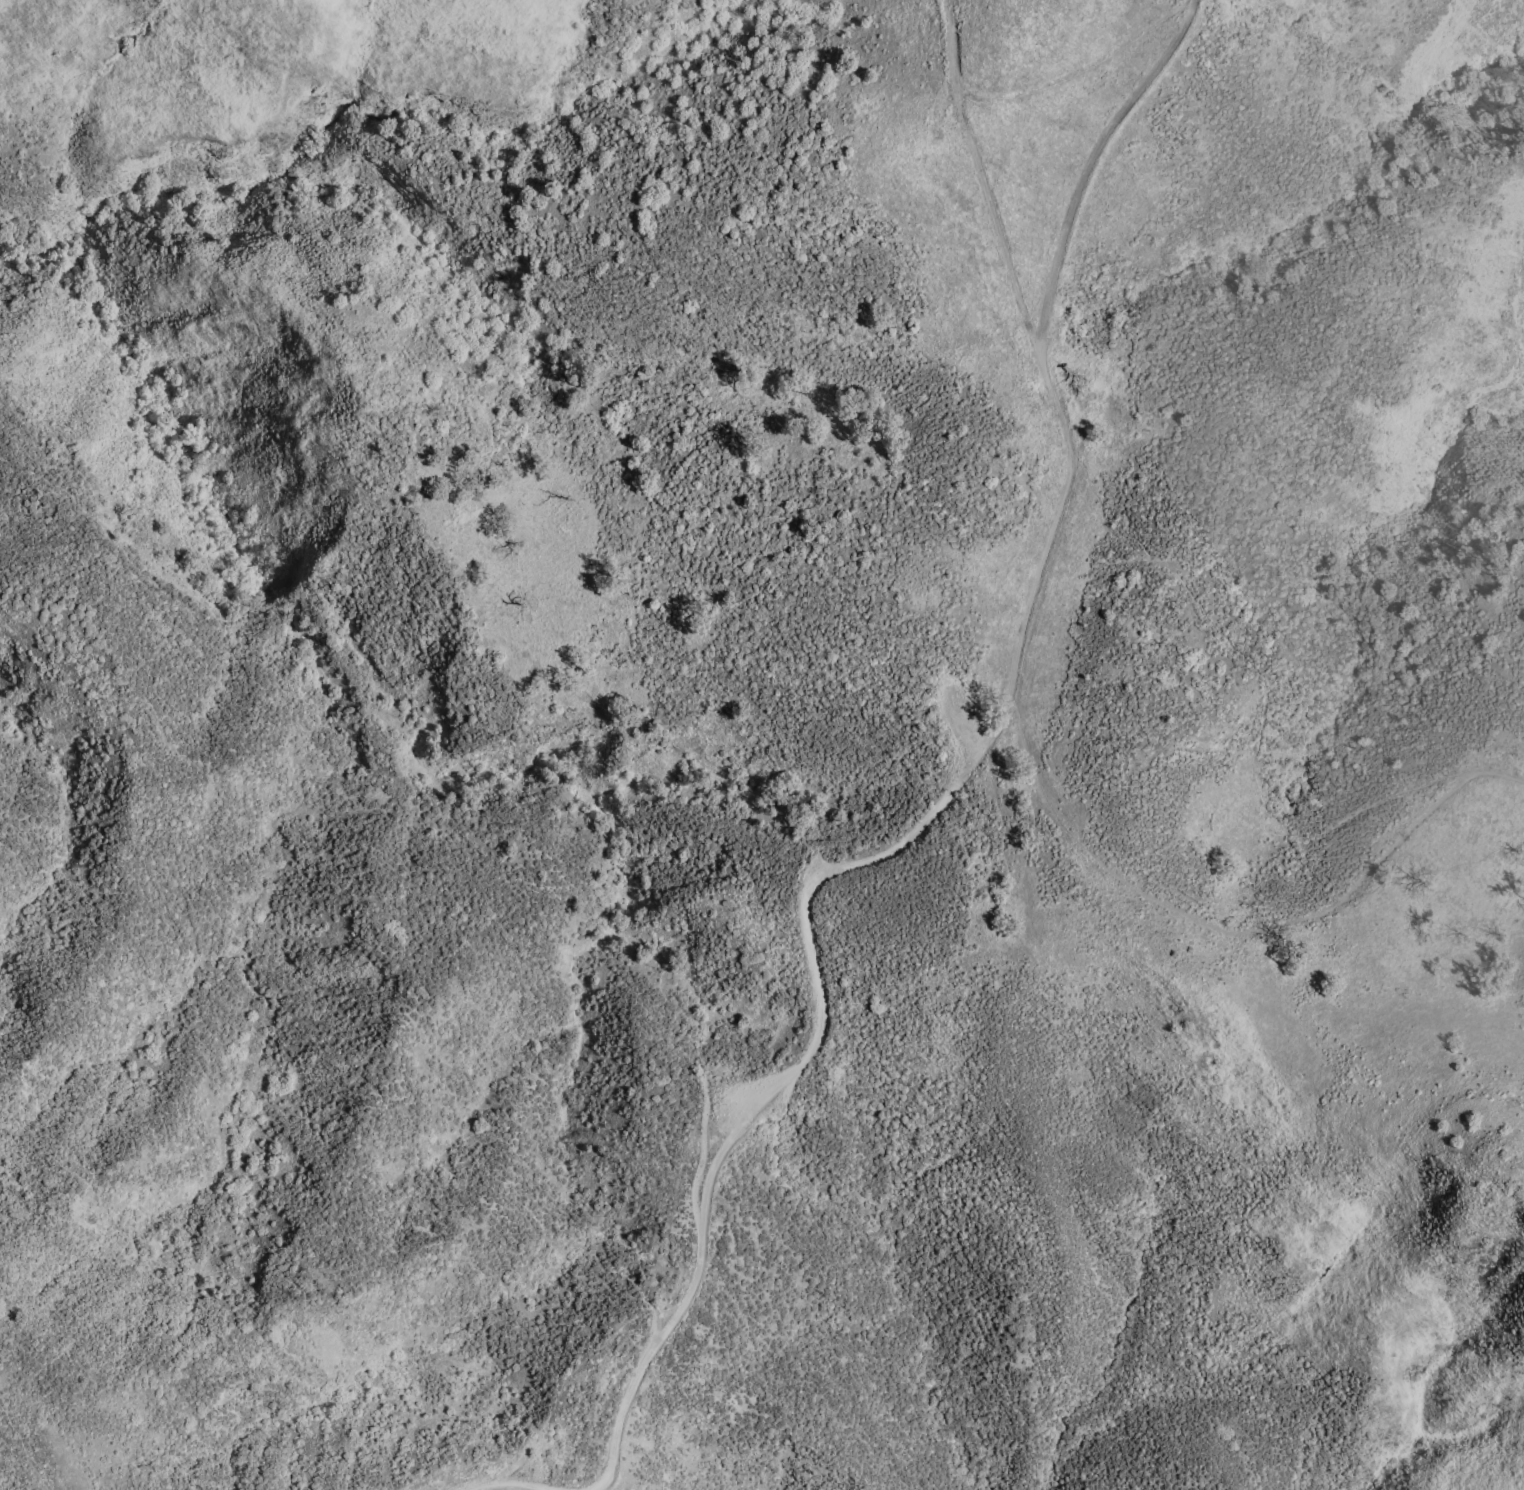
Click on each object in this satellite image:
road: (981, 183)
road: (1234, 666)
road: (1263, 700)
road: (902, 839)
road: (1236, 931)
road: (23, 1448)

